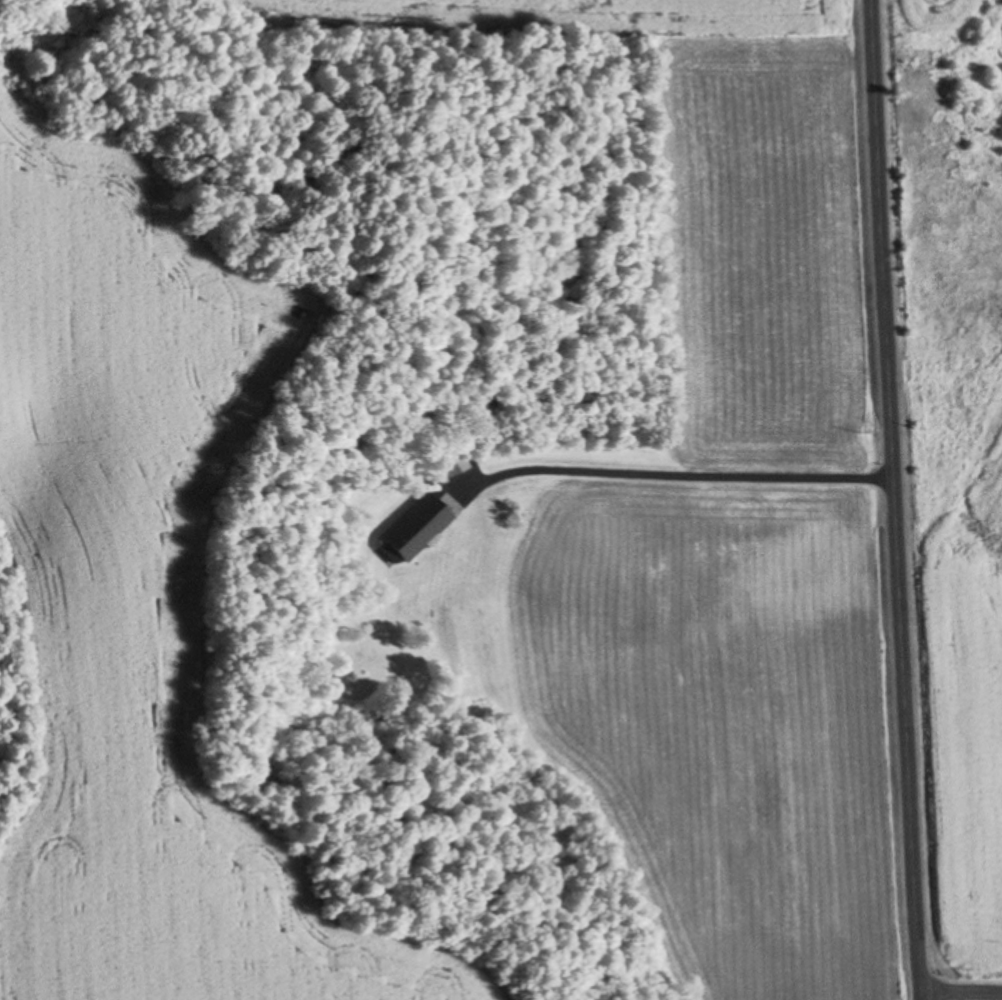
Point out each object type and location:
road: (675, 477)
road: (898, 500)
building: (410, 531)
road: (964, 988)

